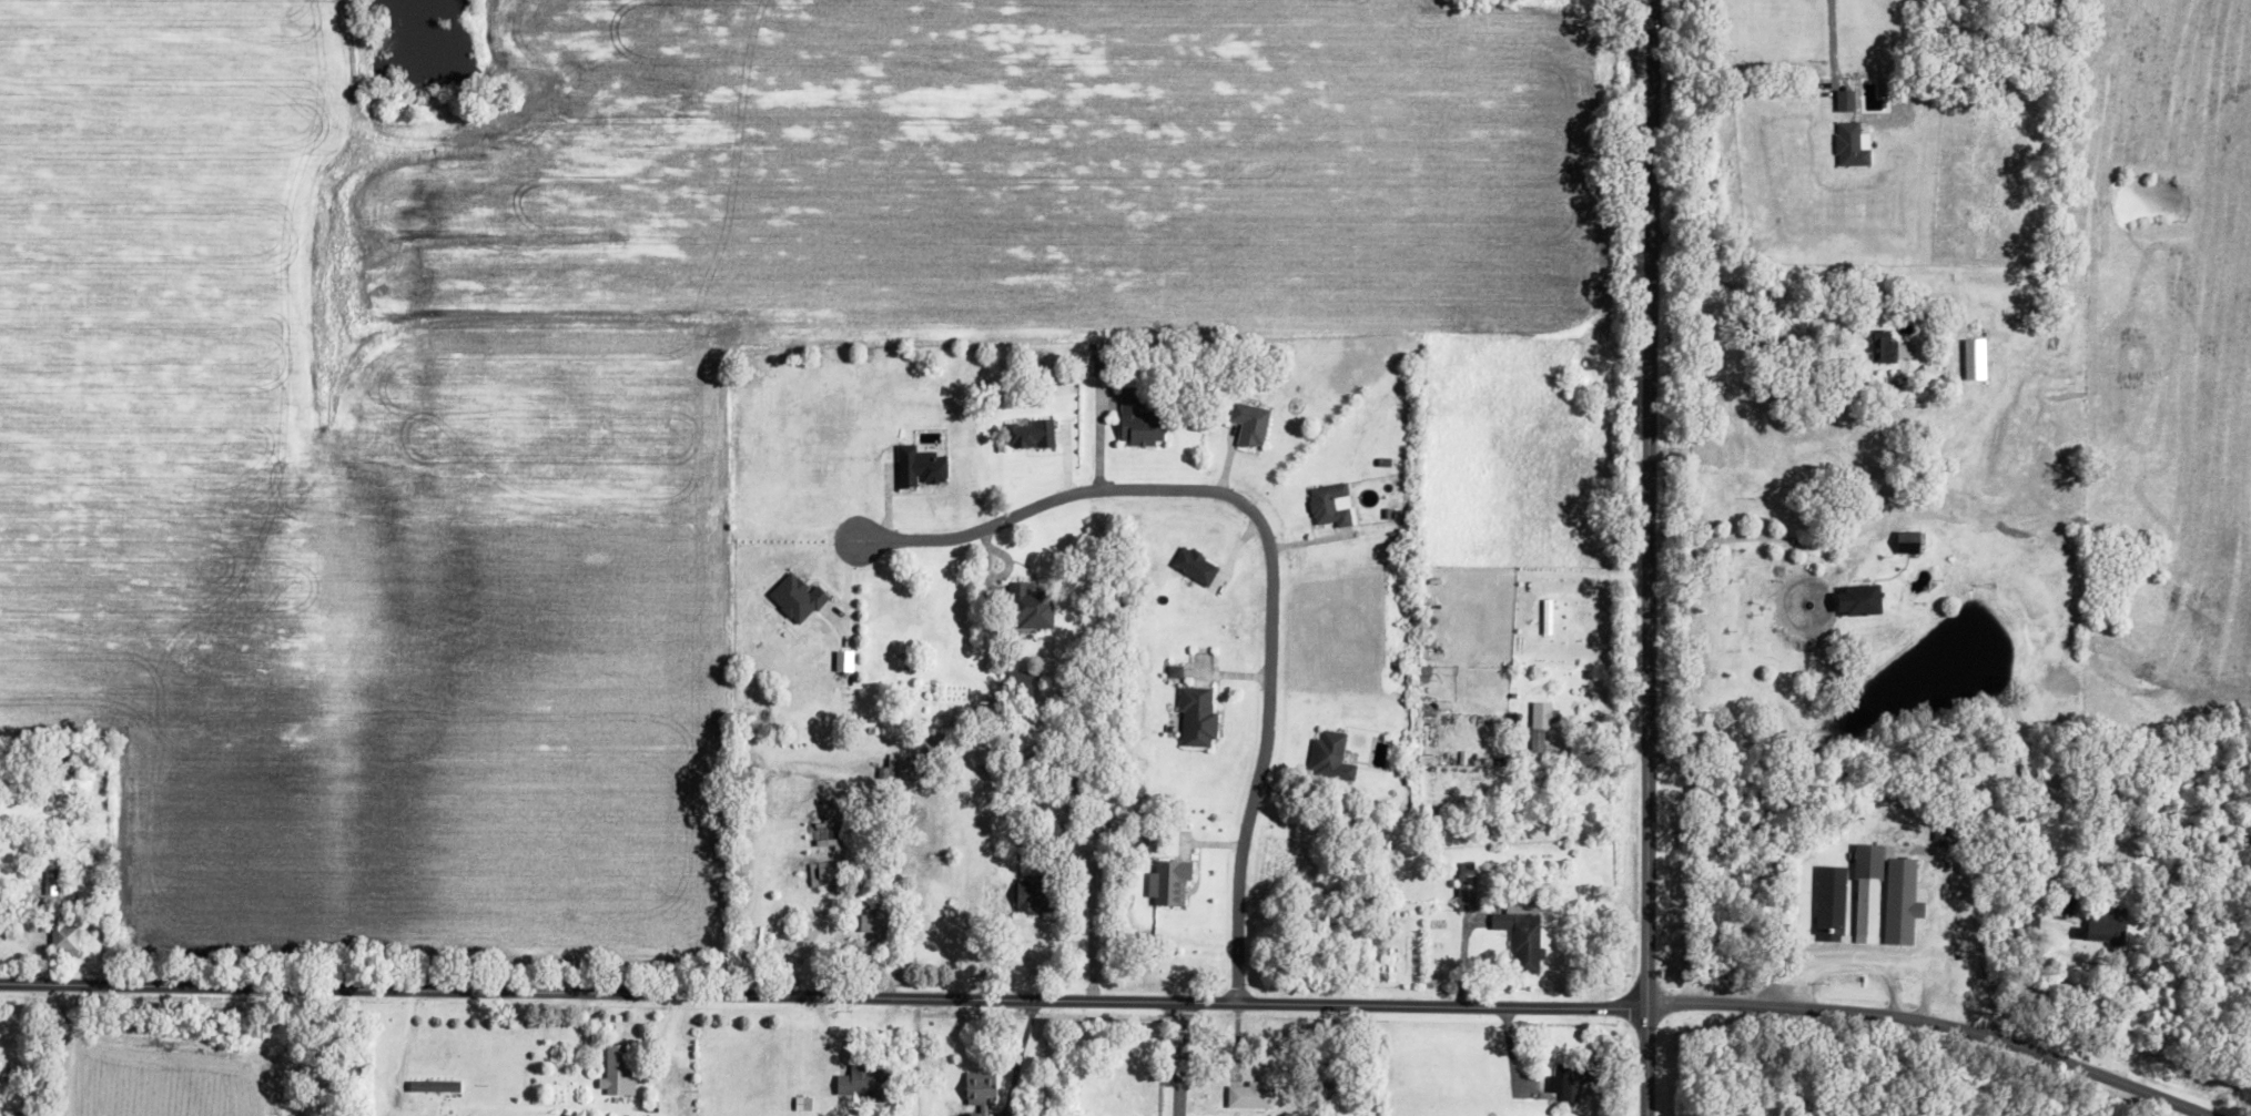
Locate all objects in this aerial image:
road: (1833, 38)
building: (1852, 145)
building: (1890, 348)
building: (1102, 359)
building: (1977, 359)
building: (1140, 420)
building: (1253, 424)
building: (1033, 435)
building: (921, 467)
building: (1330, 505)
road: (1748, 537)
building: (1912, 542)
road: (1277, 552)
road: (1649, 557)
building: (1196, 566)
road: (1583, 569)
building: (798, 597)
building: (1865, 601)
building: (1034, 607)
building: (1549, 617)
building: (845, 660)
building: (1176, 671)
building: (1021, 681)
building: (1545, 714)
building: (1198, 717)
building: (1328, 749)
building: (905, 769)
building: (1948, 834)
building: (825, 874)
building: (1170, 882)
building: (1468, 885)
building: (1040, 894)
building: (1888, 895)
building: (1834, 896)
building: (871, 911)
building: (2107, 926)
building: (64, 932)
road: (1098, 933)
building: (1524, 933)
road: (1854, 962)
road: (1928, 974)
road: (823, 996)
road: (1934, 1022)
road: (1021, 1051)
road: (398, 1052)
road: (1186, 1059)
building: (619, 1069)
building: (1573, 1079)
building: (869, 1082)
building: (436, 1086)
building: (983, 1089)
building: (1253, 1095)

